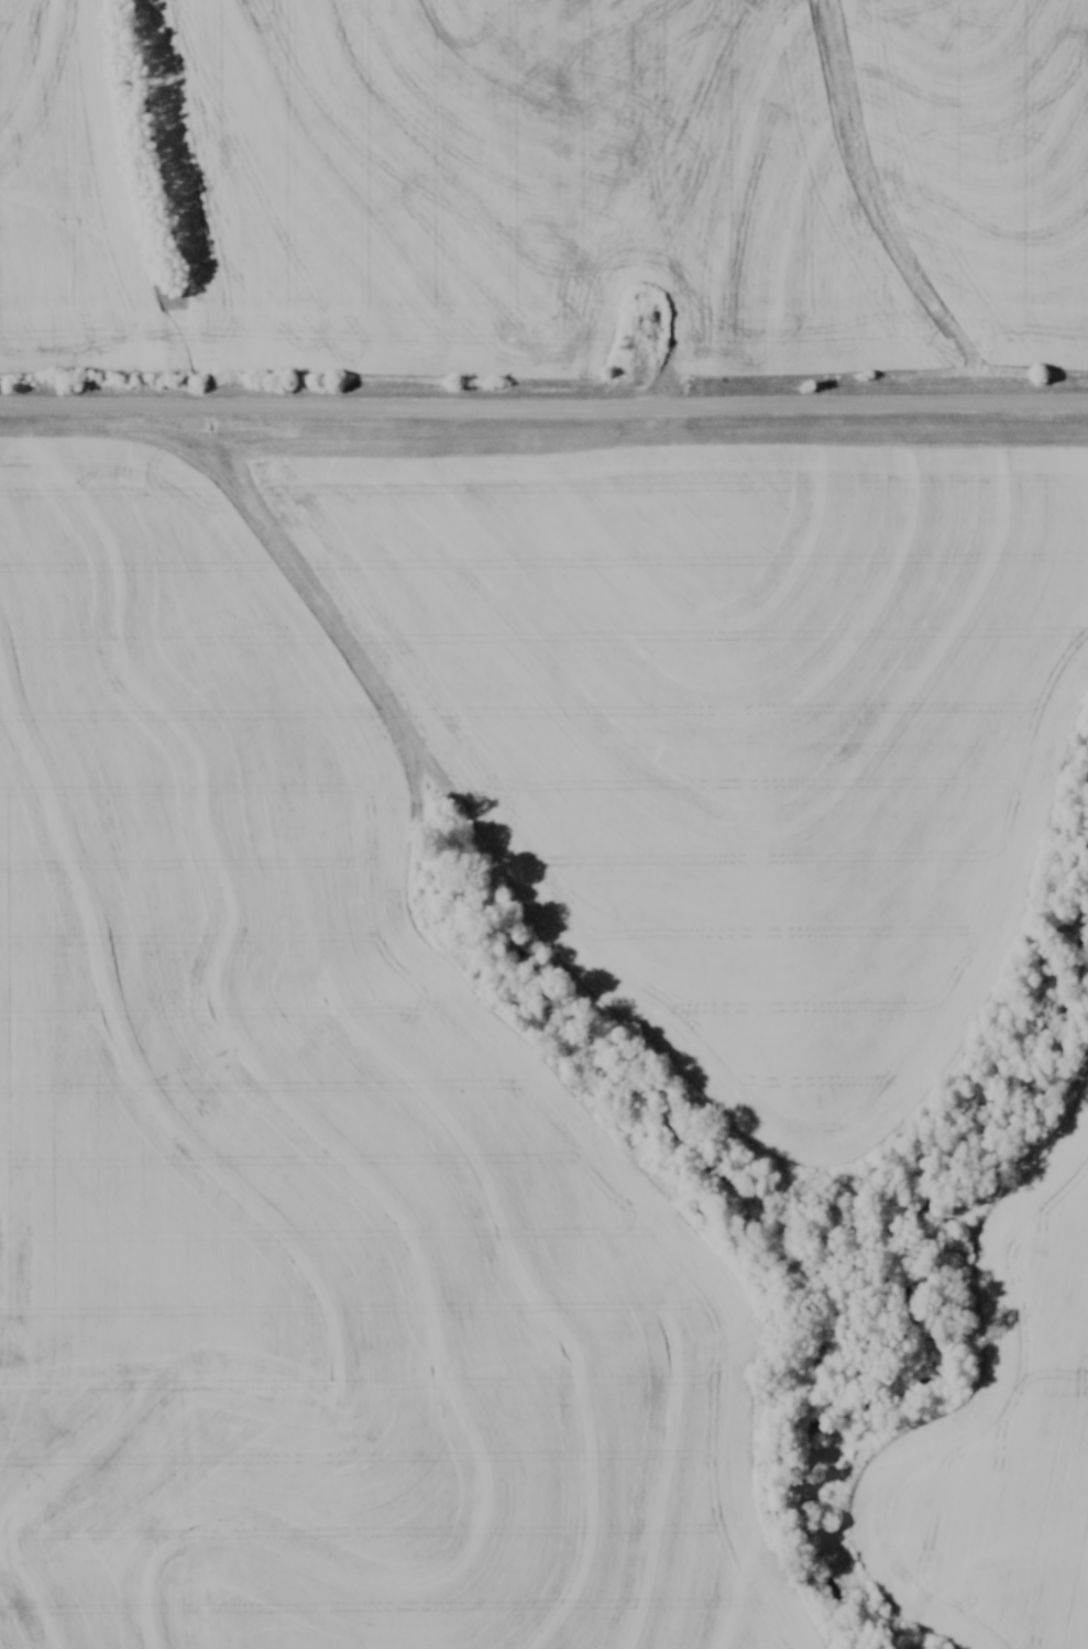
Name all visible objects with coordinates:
road: (543, 415)

